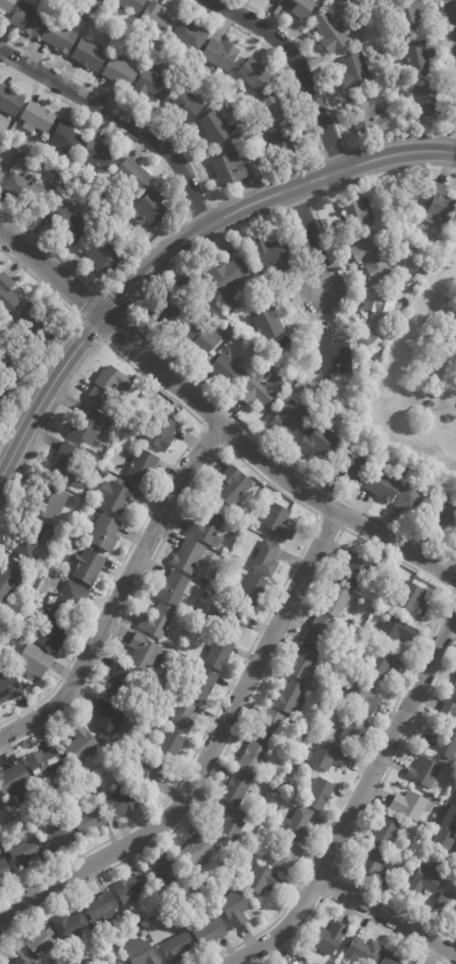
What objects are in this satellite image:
building: (103, 1)
building: (7, 5)
building: (130, 5)
building: (298, 7)
road: (452, 13)
building: (410, 15)
building: (86, 18)
building: (27, 20)
building: (156, 21)
building: (331, 34)
building: (189, 37)
building: (59, 38)
road: (449, 39)
building: (89, 55)
building: (221, 55)
building: (139, 57)
building: (418, 58)
road: (298, 66)
building: (120, 73)
building: (354, 73)
building: (255, 75)
building: (153, 86)
building: (426, 101)
building: (10, 102)
building: (187, 107)
building: (274, 110)
road: (333, 110)
building: (37, 119)
road: (122, 119)
building: (367, 119)
building: (215, 128)
building: (65, 142)
building: (282, 143)
road: (333, 153)
building: (99, 155)
building: (232, 170)
building: (3, 172)
building: (133, 175)
building: (57, 178)
road: (317, 179)
building: (69, 186)
road: (336, 189)
building: (27, 192)
road: (237, 192)
road: (299, 203)
road: (209, 206)
building: (440, 206)
building: (152, 210)
road: (185, 214)
building: (356, 214)
building: (68, 222)
road: (311, 238)
road: (177, 242)
building: (104, 254)
building: (272, 256)
building: (372, 258)
building: (230, 277)
building: (6, 293)
building: (173, 303)
building: (230, 304)
building: (380, 310)
road: (79, 319)
building: (270, 321)
building: (36, 322)
building: (229, 333)
building: (243, 335)
building: (203, 336)
road: (65, 337)
building: (374, 341)
building: (302, 344)
road: (156, 345)
building: (334, 356)
building: (239, 359)
building: (286, 359)
building: (272, 361)
building: (10, 363)
building: (227, 370)
building: (110, 384)
building: (259, 389)
building: (3, 399)
building: (432, 404)
building: (332, 415)
building: (290, 419)
road: (215, 421)
building: (89, 425)
road: (203, 427)
building: (162, 432)
building: (123, 434)
road: (190, 441)
building: (320, 441)
building: (362, 442)
building: (70, 464)
building: (142, 466)
building: (354, 468)
building: (101, 476)
building: (383, 485)
building: (234, 486)
building: (118, 496)
building: (50, 501)
building: (414, 502)
building: (444, 513)
building: (280, 521)
road: (316, 521)
road: (341, 528)
building: (208, 529)
building: (104, 532)
road: (354, 535)
building: (30, 538)
building: (189, 556)
building: (267, 559)
building: (88, 567)
building: (357, 571)
building: (230, 577)
building: (9, 582)
building: (176, 589)
building: (253, 590)
road: (120, 592)
building: (387, 597)
building: (413, 598)
building: (69, 599)
building: (337, 602)
building: (16, 608)
building: (192, 616)
building: (229, 616)
building: (158, 622)
building: (52, 631)
building: (395, 631)
building: (320, 632)
building: (348, 634)
building: (14, 637)
building: (145, 653)
building: (220, 654)
building: (34, 662)
building: (381, 664)
building: (304, 665)
building: (205, 682)
building: (119, 684)
building: (455, 684)
building: (9, 688)
building: (360, 696)
building: (290, 699)
building: (335, 705)
building: (449, 710)
building: (182, 716)
building: (108, 717)
building: (270, 727)
building: (353, 731)
building: (444, 745)
building: (80, 746)
building: (170, 748)
road: (207, 754)
building: (328, 757)
building: (254, 759)
building: (45, 769)
building: (148, 771)
building: (425, 775)
building: (16, 784)
building: (237, 790)
building: (320, 795)
building: (121, 802)
road: (356, 802)
building: (1, 805)
building: (411, 806)
building: (1, 809)
building: (0, 814)
road: (362, 818)
building: (90, 821)
building: (230, 823)
building: (299, 825)
building: (446, 831)
building: (388, 833)
building: (59, 838)
building: (25, 852)
building: (197, 853)
building: (287, 858)
building: (455, 858)
building: (228, 865)
building: (373, 865)
building: (4, 870)
road: (334, 871)
building: (167, 878)
building: (262, 880)
building: (426, 882)
building: (385, 883)
building: (132, 889)
building: (447, 905)
road: (341, 906)
building: (101, 908)
building: (235, 909)
road: (386, 916)
building: (140, 922)
building: (70, 927)
building: (210, 932)
building: (49, 933)
building: (145, 933)
building: (329, 940)
building: (38, 943)
building: (176, 948)
building: (365, 952)
building: (141, 953)
building: (394, 959)
building: (19, 962)
building: (91, 962)
building: (116, 963)
building: (296, 963)

